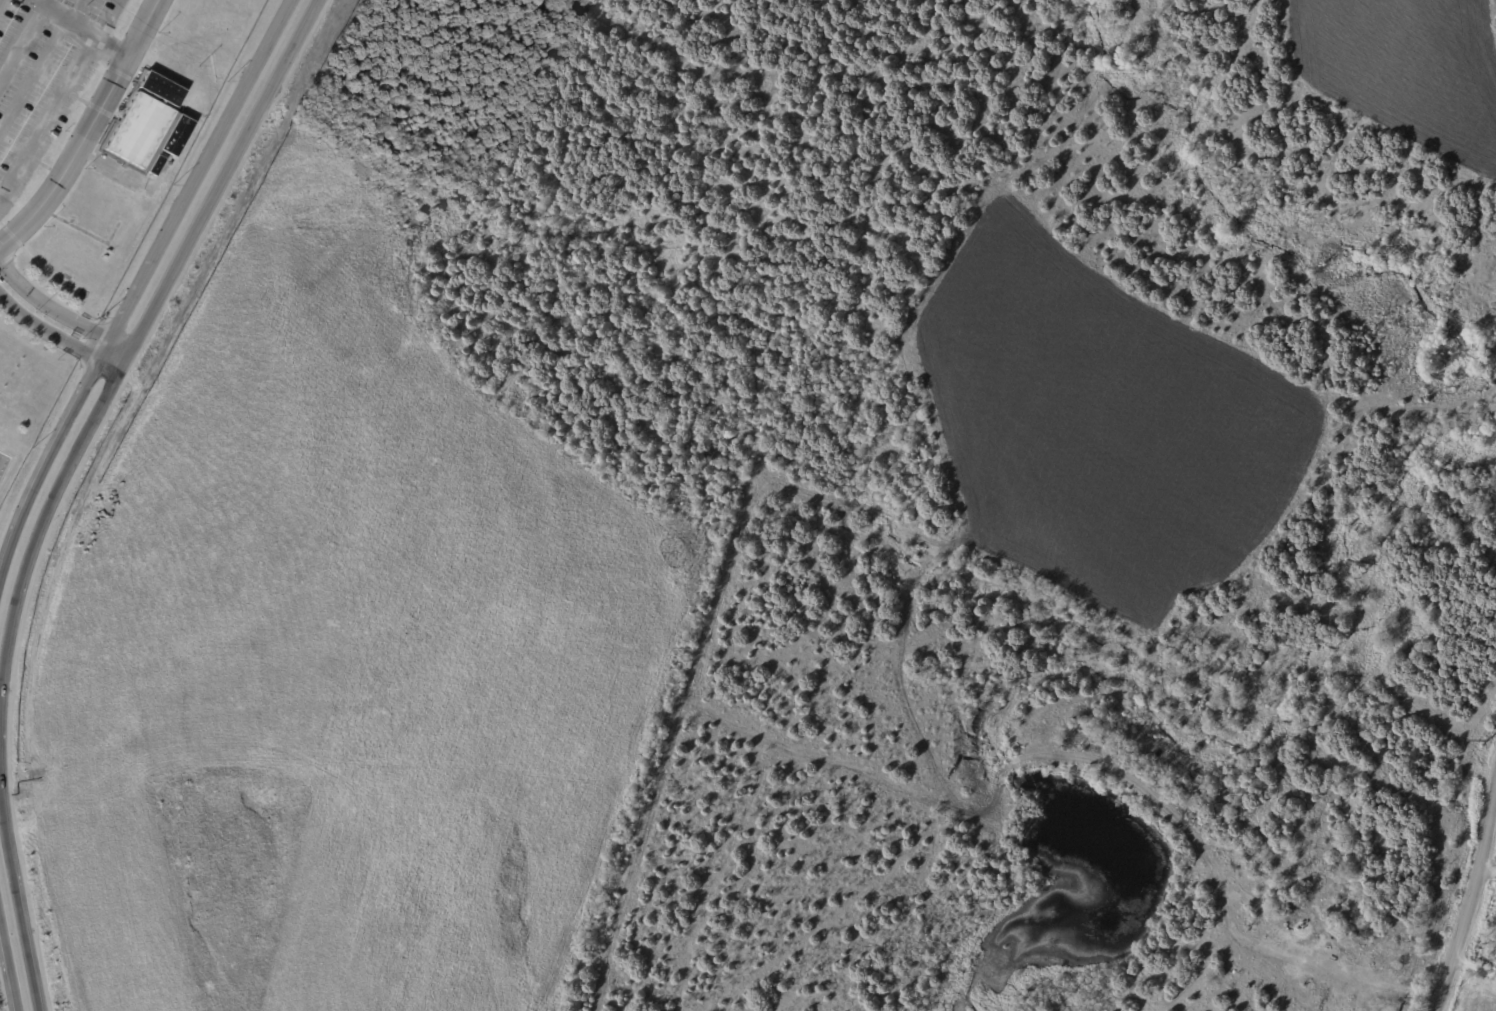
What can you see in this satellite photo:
road: (66, 18)
road: (104, 33)
road: (21, 44)
road: (47, 113)
building: (148, 126)
road: (88, 130)
road: (54, 308)
road: (134, 319)
road: (53, 333)
road: (1487, 874)
road: (1471, 902)
road: (14, 923)
road: (1474, 969)

